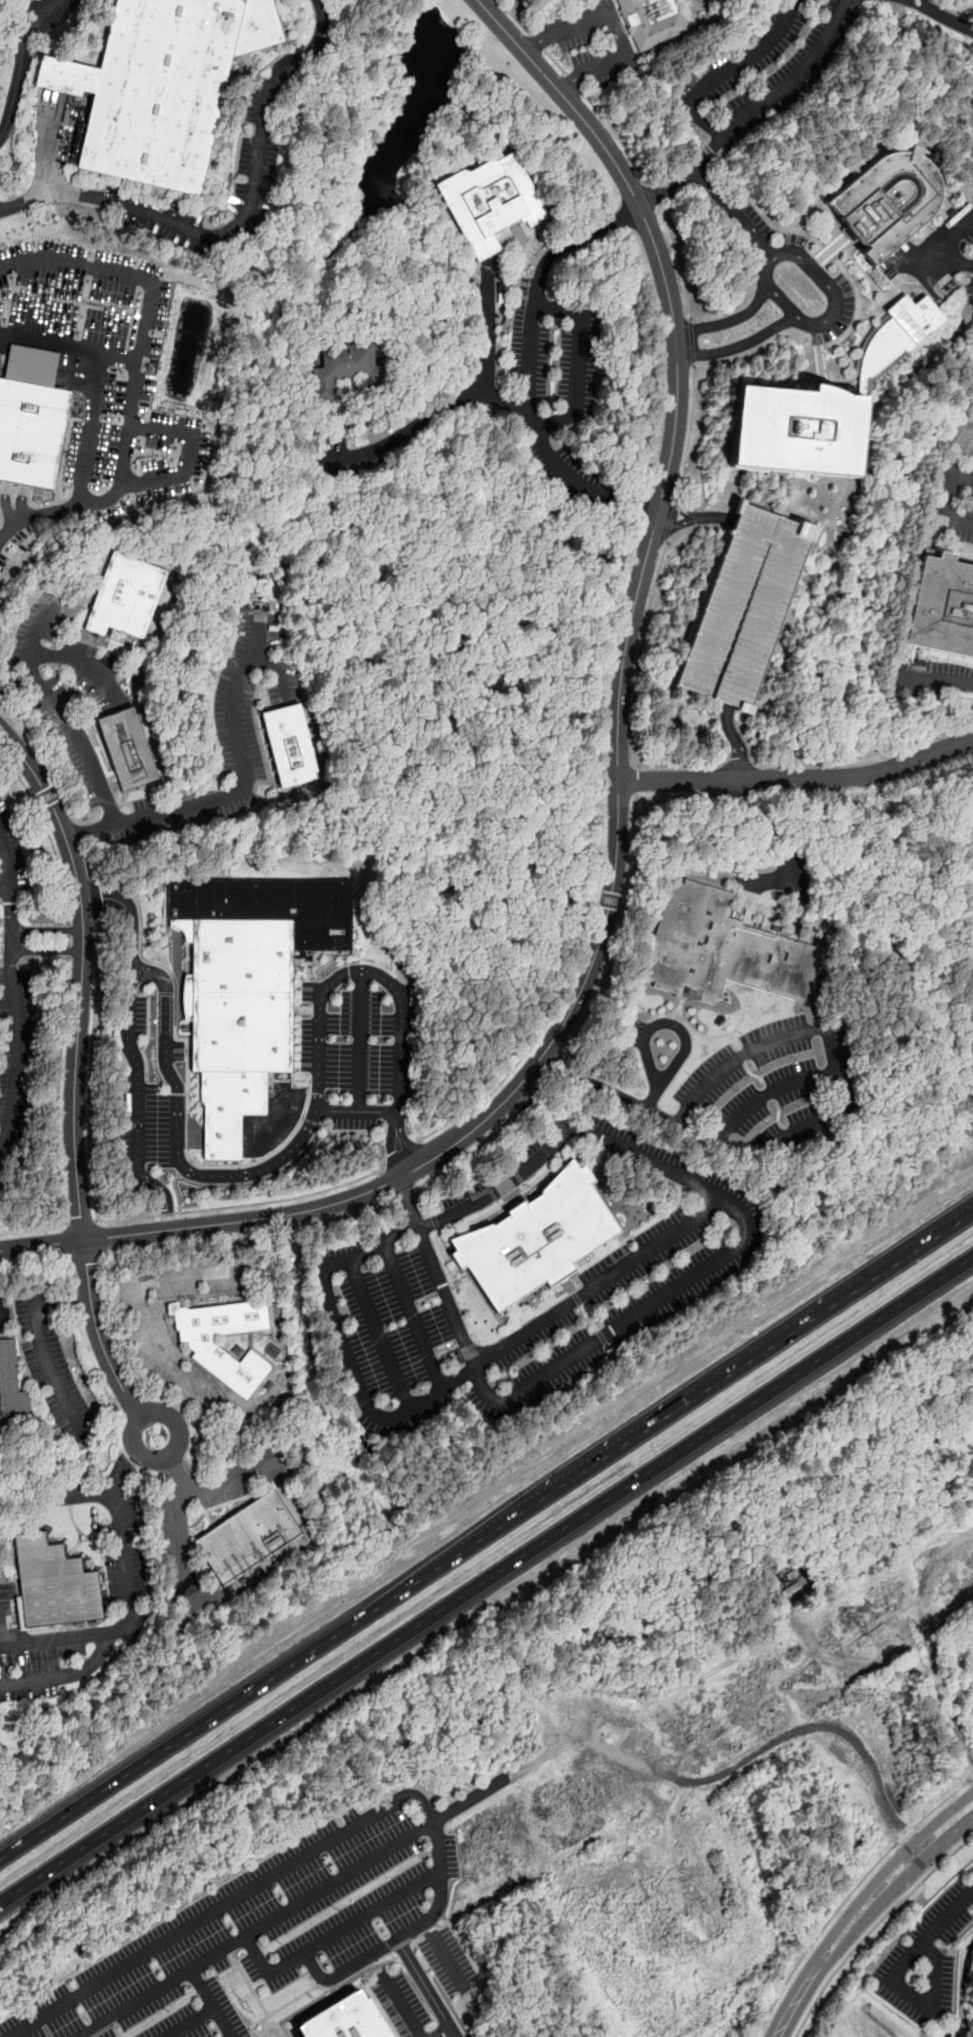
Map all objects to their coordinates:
road: (497, 0)
road: (938, 15)
road: (513, 16)
building: (651, 21)
road: (617, 24)
road: (537, 42)
road: (20, 61)
road: (554, 61)
road: (721, 71)
road: (791, 80)
road: (572, 82)
building: (172, 87)
road: (616, 136)
road: (681, 177)
road: (652, 196)
building: (492, 199)
building: (884, 202)
road: (733, 212)
road: (238, 223)
road: (940, 241)
road: (676, 261)
road: (768, 280)
road: (538, 284)
road: (147, 306)
road: (731, 319)
road: (692, 341)
road: (740, 344)
road: (68, 346)
road: (578, 364)
building: (344, 368)
building: (822, 406)
road: (526, 417)
road: (90, 429)
road: (689, 430)
building: (30, 431)
road: (406, 439)
road: (134, 483)
road: (946, 503)
road: (671, 519)
building: (126, 595)
building: (942, 605)
building: (745, 606)
parking garage: (745, 606)
road: (645, 620)
road: (84, 662)
road: (279, 674)
road: (16, 679)
road: (940, 681)
road: (62, 710)
road: (734, 740)
building: (289, 745)
building: (127, 748)
road: (798, 778)
road: (635, 781)
road: (236, 793)
road: (617, 799)
road: (762, 823)
road: (47, 832)
road: (3, 876)
road: (96, 897)
road: (138, 910)
road: (67, 928)
road: (619, 928)
road: (46, 929)
road: (67, 940)
building: (722, 949)
road: (46, 951)
road: (67, 951)
road: (362, 972)
building: (248, 982)
road: (12, 988)
road: (553, 1005)
road: (827, 1037)
road: (360, 1040)
road: (131, 1047)
road: (555, 1064)
road: (77, 1068)
road: (661, 1079)
road: (540, 1082)
road: (57, 1090)
road: (769, 1093)
road: (526, 1098)
road: (355, 1108)
road: (697, 1132)
road: (178, 1139)
road: (404, 1139)
road: (391, 1144)
road: (470, 1153)
road: (400, 1154)
road: (502, 1187)
road: (176, 1191)
road: (403, 1193)
road: (420, 1207)
road: (136, 1217)
road: (80, 1221)
road: (323, 1224)
road: (232, 1236)
building: (536, 1236)
road: (158, 1245)
road: (84, 1256)
road: (33, 1260)
road: (614, 1271)
road: (136, 1284)
road: (2, 1313)
road: (415, 1318)
road: (623, 1322)
road: (382, 1338)
road: (41, 1345)
building: (208, 1350)
road: (346, 1351)
building: (9, 1382)
road: (962, 1401)
road: (667, 1413)
road: (909, 1421)
road: (131, 1446)
road: (233, 1479)
road: (897, 1481)
road: (83, 1493)
road: (905, 1506)
road: (809, 1508)
building: (246, 1536)
building: (791, 1574)
road: (486, 1578)
building: (54, 1583)
building: (788, 1591)
road: (191, 1593)
road: (128, 1599)
road: (795, 1624)
power tower: (861, 1636)
road: (617, 1649)
road: (484, 1655)
road: (818, 1656)
road: (843, 1663)
road: (64, 1673)
road: (453, 1704)
road: (793, 1710)
road: (181, 1736)
road: (754, 1752)
road: (971, 1778)
road: (681, 1800)
road: (657, 1803)
road: (281, 1868)
road: (874, 1880)
road: (848, 1896)
road: (881, 1899)
road: (949, 1919)
road: (873, 1927)
road: (255, 1928)
parking lot: (295, 1928)
road: (335, 1935)
road: (444, 1954)
parking lot: (935, 1960)
road: (348, 1967)
road: (425, 1987)
road: (914, 1998)
road: (211, 2001)
road: (402, 2006)
power tower: (246, 2008)
road: (16, 2009)
road: (786, 2013)
building: (346, 2019)
road: (188, 2021)
road: (440, 2032)

